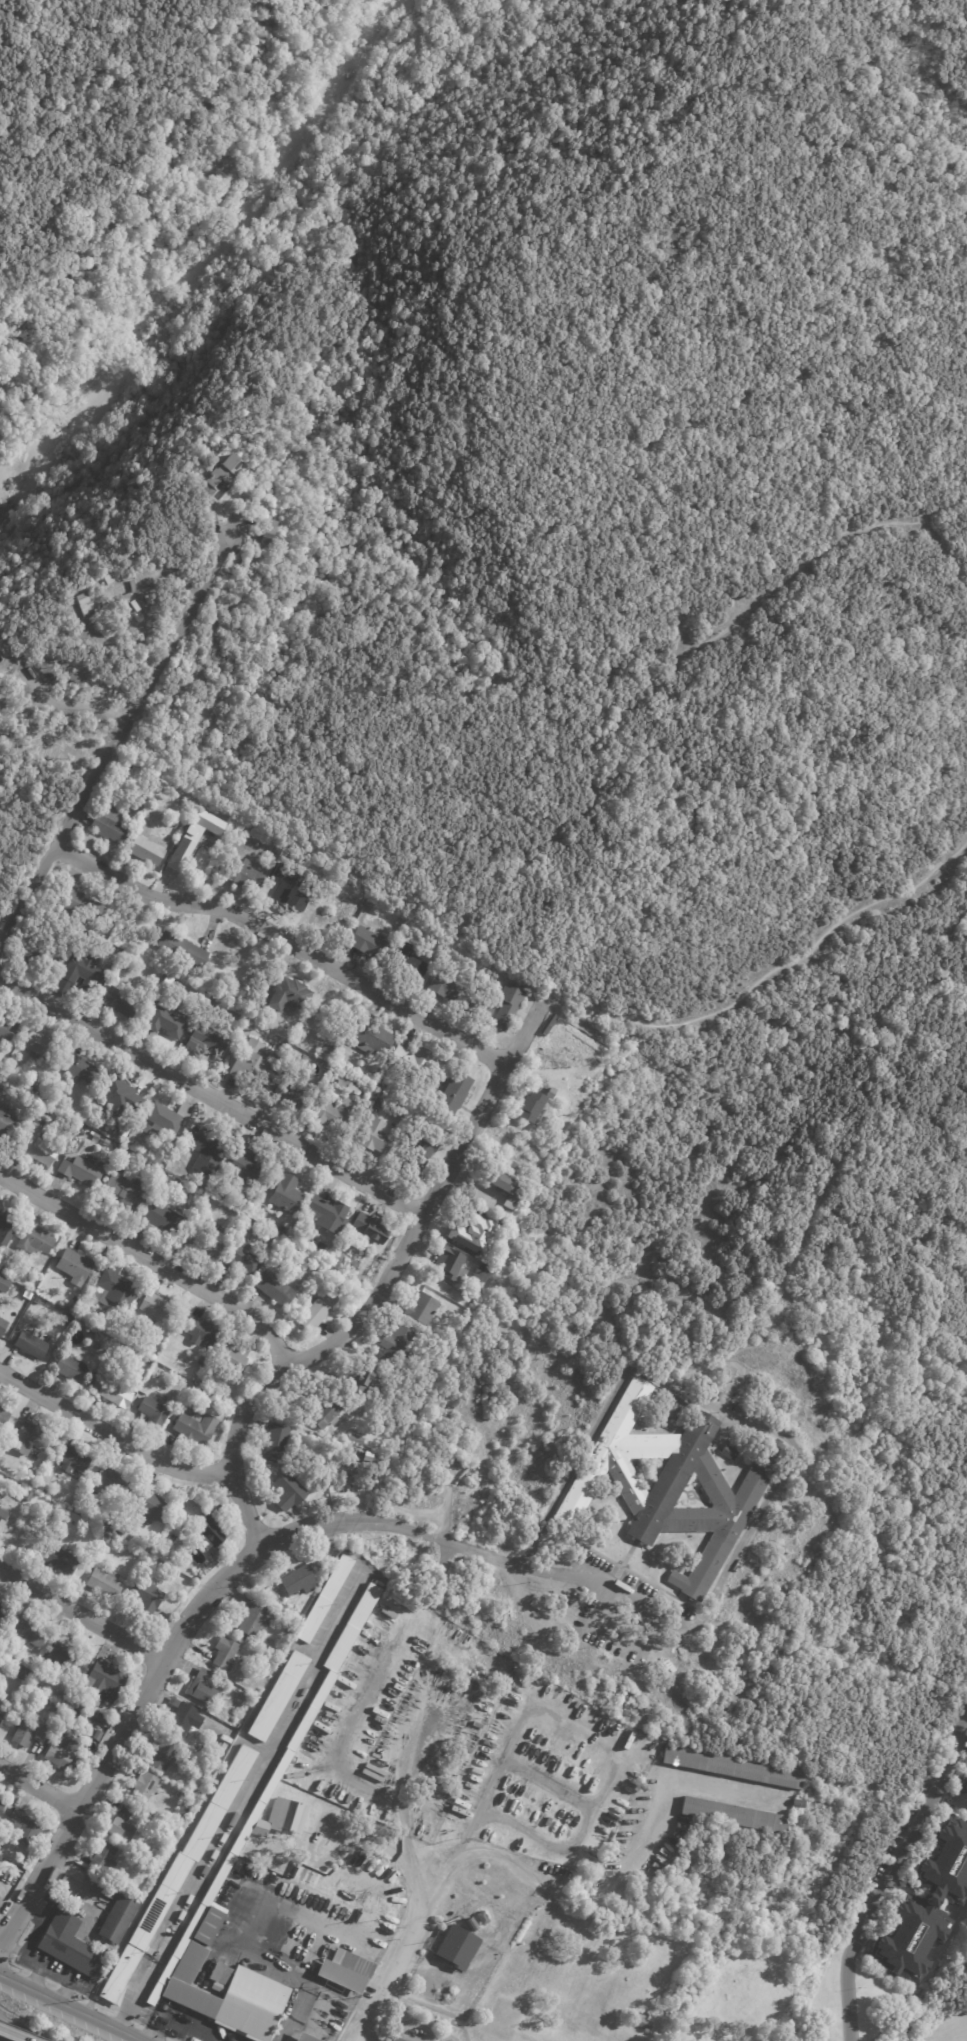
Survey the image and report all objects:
road: (256, 265)
building: (223, 479)
road: (17, 508)
building: (271, 537)
road: (816, 558)
building: (108, 578)
building: (115, 596)
building: (84, 604)
building: (48, 676)
building: (1, 679)
building: (0, 688)
road: (115, 733)
building: (149, 807)
road: (28, 818)
building: (112, 825)
building: (192, 837)
building: (148, 851)
building: (275, 851)
building: (245, 874)
building: (327, 894)
building: (289, 895)
building: (82, 904)
road: (283, 940)
building: (372, 945)
building: (183, 950)
building: (48, 953)
building: (412, 961)
road: (771, 970)
building: (83, 973)
building: (450, 987)
building: (292, 995)
building: (122, 1003)
building: (504, 1007)
building: (168, 1023)
building: (8, 1028)
building: (372, 1040)
building: (208, 1043)
building: (41, 1046)
building: (328, 1054)
building: (416, 1062)
building: (252, 1063)
building: (83, 1071)
building: (376, 1075)
building: (39, 1086)
building: (349, 1087)
building: (576, 1089)
building: (389, 1090)
building: (289, 1093)
building: (549, 1094)
building: (457, 1095)
road: (210, 1096)
building: (377, 1104)
building: (528, 1107)
building: (125, 1109)
building: (46, 1110)
building: (335, 1113)
building: (170, 1119)
building: (8, 1126)
building: (376, 1137)
building: (39, 1147)
building: (206, 1153)
building: (424, 1153)
building: (246, 1166)
building: (82, 1170)
building: (503, 1187)
building: (289, 1192)
building: (127, 1193)
building: (331, 1215)
building: (162, 1220)
building: (6, 1227)
building: (371, 1229)
building: (282, 1230)
building: (469, 1232)
building: (36, 1239)
building: (277, 1242)
building: (209, 1243)
road: (150, 1258)
building: (243, 1258)
building: (341, 1262)
building: (448, 1264)
building: (355, 1265)
building: (76, 1266)
building: (4, 1268)
building: (478, 1274)
building: (4, 1282)
building: (366, 1285)
building: (116, 1289)
building: (276, 1289)
road: (378, 1290)
building: (44, 1292)
building: (29, 1294)
building: (37, 1301)
building: (73, 1304)
building: (323, 1306)
building: (425, 1306)
building: (158, 1308)
building: (3, 1325)
building: (204, 1332)
building: (32, 1343)
building: (398, 1345)
building: (231, 1356)
building: (164, 1359)
building: (72, 1366)
building: (365, 1378)
building: (204, 1382)
building: (116, 1389)
road: (703, 1399)
building: (230, 1406)
building: (327, 1409)
building: (668, 1409)
building: (153, 1410)
building: (4, 1417)
building: (381, 1424)
building: (195, 1428)
road: (111, 1433)
building: (31, 1439)
building: (355, 1440)
building: (279, 1443)
building: (729, 1453)
building: (75, 1459)
building: (111, 1485)
building: (667, 1487)
building: (292, 1490)
building: (44, 1492)
building: (28, 1495)
building: (153, 1507)
building: (4, 1513)
building: (110, 1528)
building: (123, 1531)
building: (210, 1534)
building: (101, 1535)
building: (174, 1537)
building: (108, 1538)
building: (60, 1559)
building: (151, 1563)
road: (569, 1575)
building: (293, 1579)
building: (107, 1583)
building: (149, 1598)
building: (325, 1599)
building: (2, 1609)
road: (79, 1614)
building: (250, 1618)
building: (286, 1625)
building: (26, 1632)
road: (611, 1634)
building: (219, 1651)
road: (163, 1652)
building: (68, 1658)
building: (23, 1673)
building: (105, 1682)
building: (204, 1686)
building: (279, 1695)
building: (247, 1696)
building: (76, 1705)
building: (1, 1717)
building: (186, 1718)
building: (104, 1719)
building: (52, 1724)
building: (69, 1724)
building: (31, 1733)
building: (99, 1736)
building: (204, 1750)
building: (64, 1754)
building: (165, 1754)
building: (81, 1768)
building: (732, 1768)
building: (277, 1772)
road: (37, 1788)
building: (146, 1788)
building: (181, 1796)
building: (962, 1796)
building: (0, 1800)
road: (249, 1802)
building: (2, 1807)
building: (184, 1810)
building: (292, 1816)
building: (733, 1817)
building: (124, 1825)
building: (26, 1826)
building: (262, 1829)
building: (146, 1832)
road: (468, 1852)
building: (157, 1854)
building: (104, 1858)
building: (1, 1859)
building: (129, 1859)
building: (178, 1873)
road: (892, 1879)
building: (926, 1907)
building: (349, 1912)
building: (114, 1917)
building: (484, 1918)
building: (473, 1924)
building: (212, 1927)
road: (412, 1930)
road: (0, 1941)
building: (67, 1944)
building: (461, 1948)
road: (280, 1967)
building: (348, 1971)
building: (232, 1996)
road: (72, 2009)
building: (641, 2024)
road: (14, 2032)
road: (12, 2035)
building: (308, 2038)
building: (398, 2039)
building: (672, 2040)

